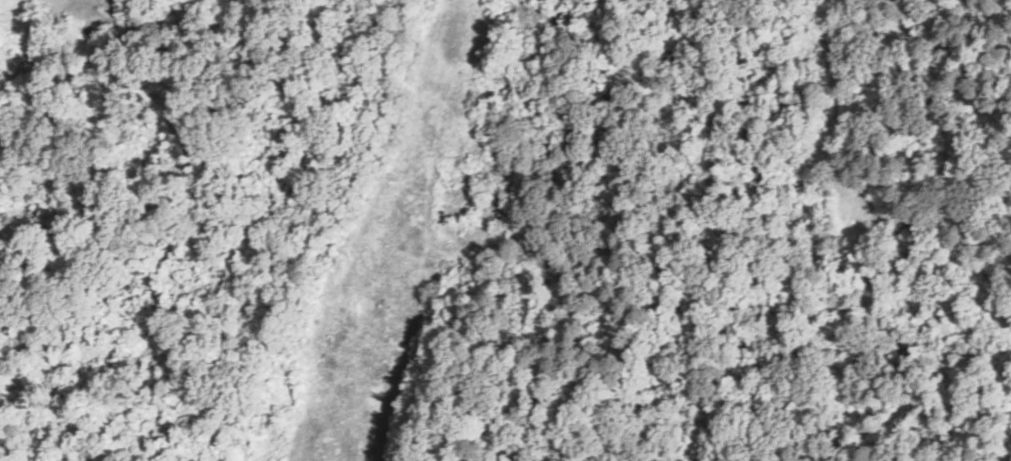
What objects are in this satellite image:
road: (26, 27)
road: (889, 102)
road: (44, 398)

